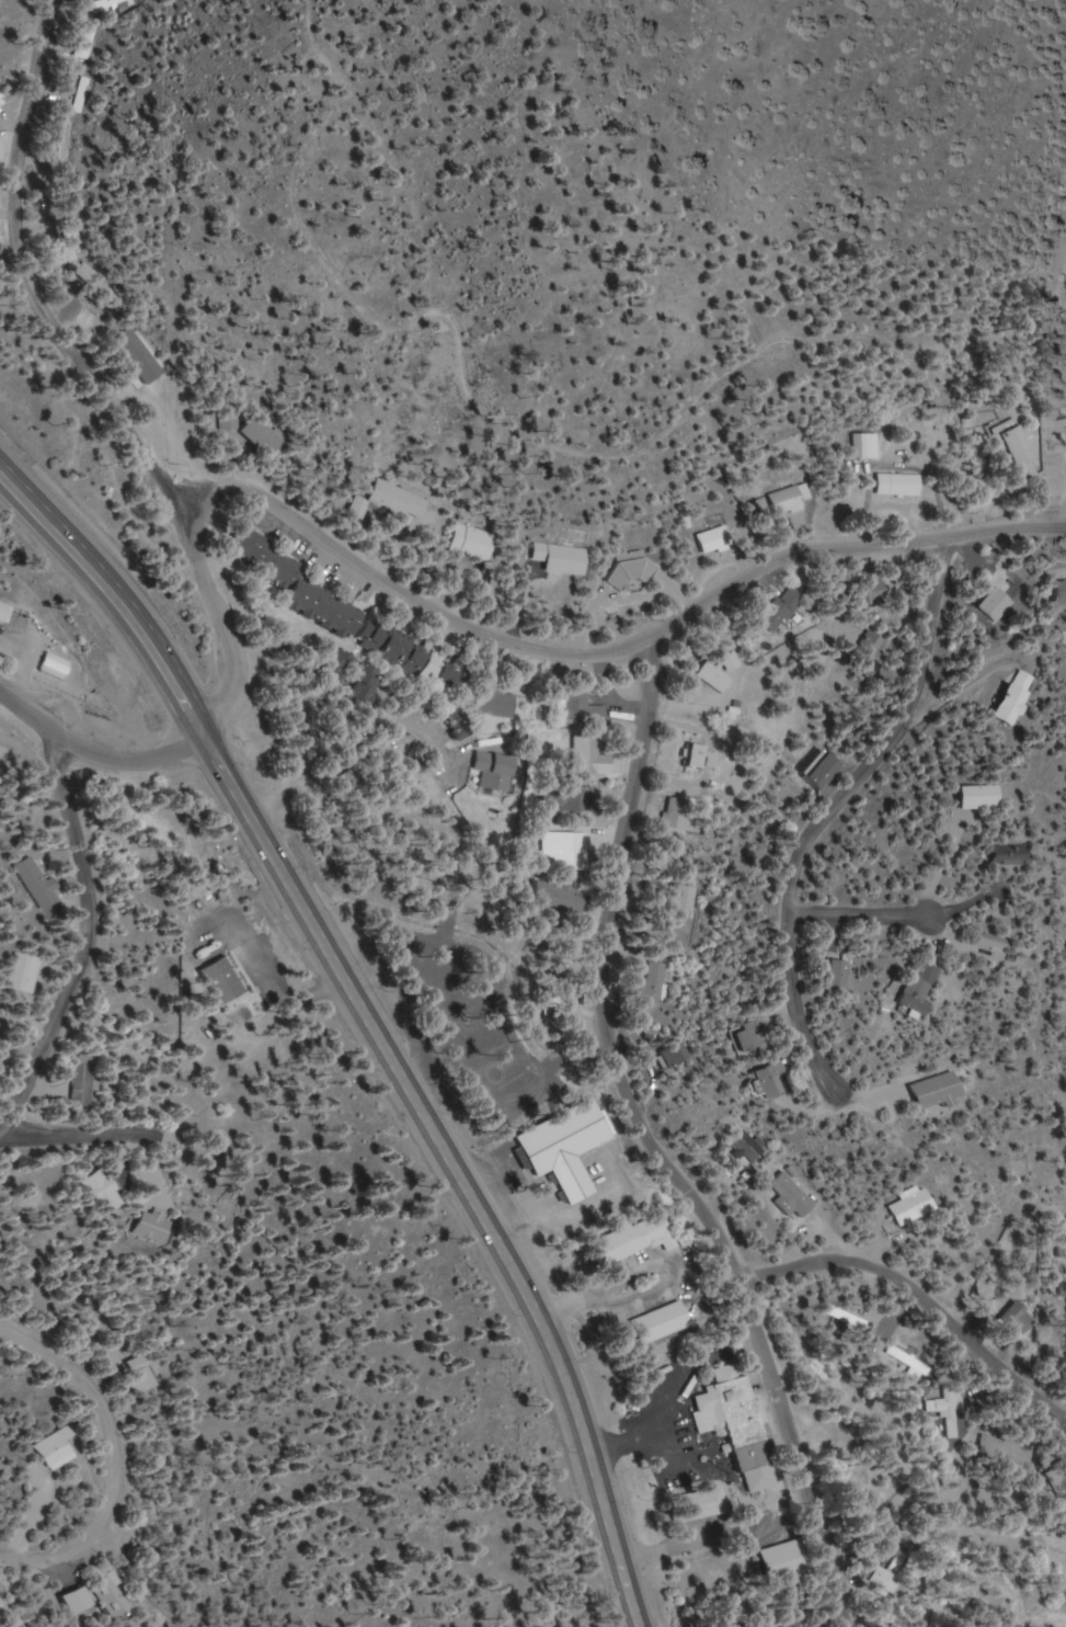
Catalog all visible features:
building: (105, 3)
building: (85, 42)
building: (81, 94)
building: (64, 139)
building: (72, 237)
road: (32, 282)
building: (1061, 425)
building: (262, 434)
building: (867, 444)
building: (1012, 450)
building: (898, 483)
building: (790, 499)
building: (391, 501)
building: (713, 539)
building: (474, 543)
building: (560, 558)
building: (300, 584)
building: (871, 591)
building: (1057, 593)
building: (987, 605)
building: (780, 608)
building: (5, 613)
road: (501, 639)
building: (867, 644)
building: (409, 656)
building: (356, 675)
building: (714, 676)
building: (1011, 697)
building: (494, 699)
building: (582, 709)
road: (101, 748)
building: (588, 755)
building: (701, 756)
road: (860, 766)
building: (494, 771)
building: (568, 797)
building: (981, 797)
building: (679, 815)
building: (569, 850)
building: (1012, 854)
building: (37, 883)
building: (565, 898)
building: (679, 899)
road: (859, 913)
building: (997, 942)
road: (95, 943)
building: (27, 972)
building: (838, 976)
building: (223, 980)
building: (655, 981)
building: (922, 988)
road: (368, 1020)
building: (754, 1039)
building: (677, 1054)
building: (773, 1080)
building: (81, 1084)
building: (944, 1090)
road: (105, 1133)
road: (655, 1146)
building: (569, 1147)
building: (750, 1148)
building: (101, 1192)
building: (795, 1196)
building: (916, 1207)
building: (150, 1225)
building: (637, 1237)
road: (922, 1295)
building: (662, 1321)
building: (933, 1406)
building: (736, 1416)
building: (55, 1448)
road: (115, 1460)
building: (702, 1503)
building: (896, 1562)
building: (107, 1595)
building: (77, 1601)

